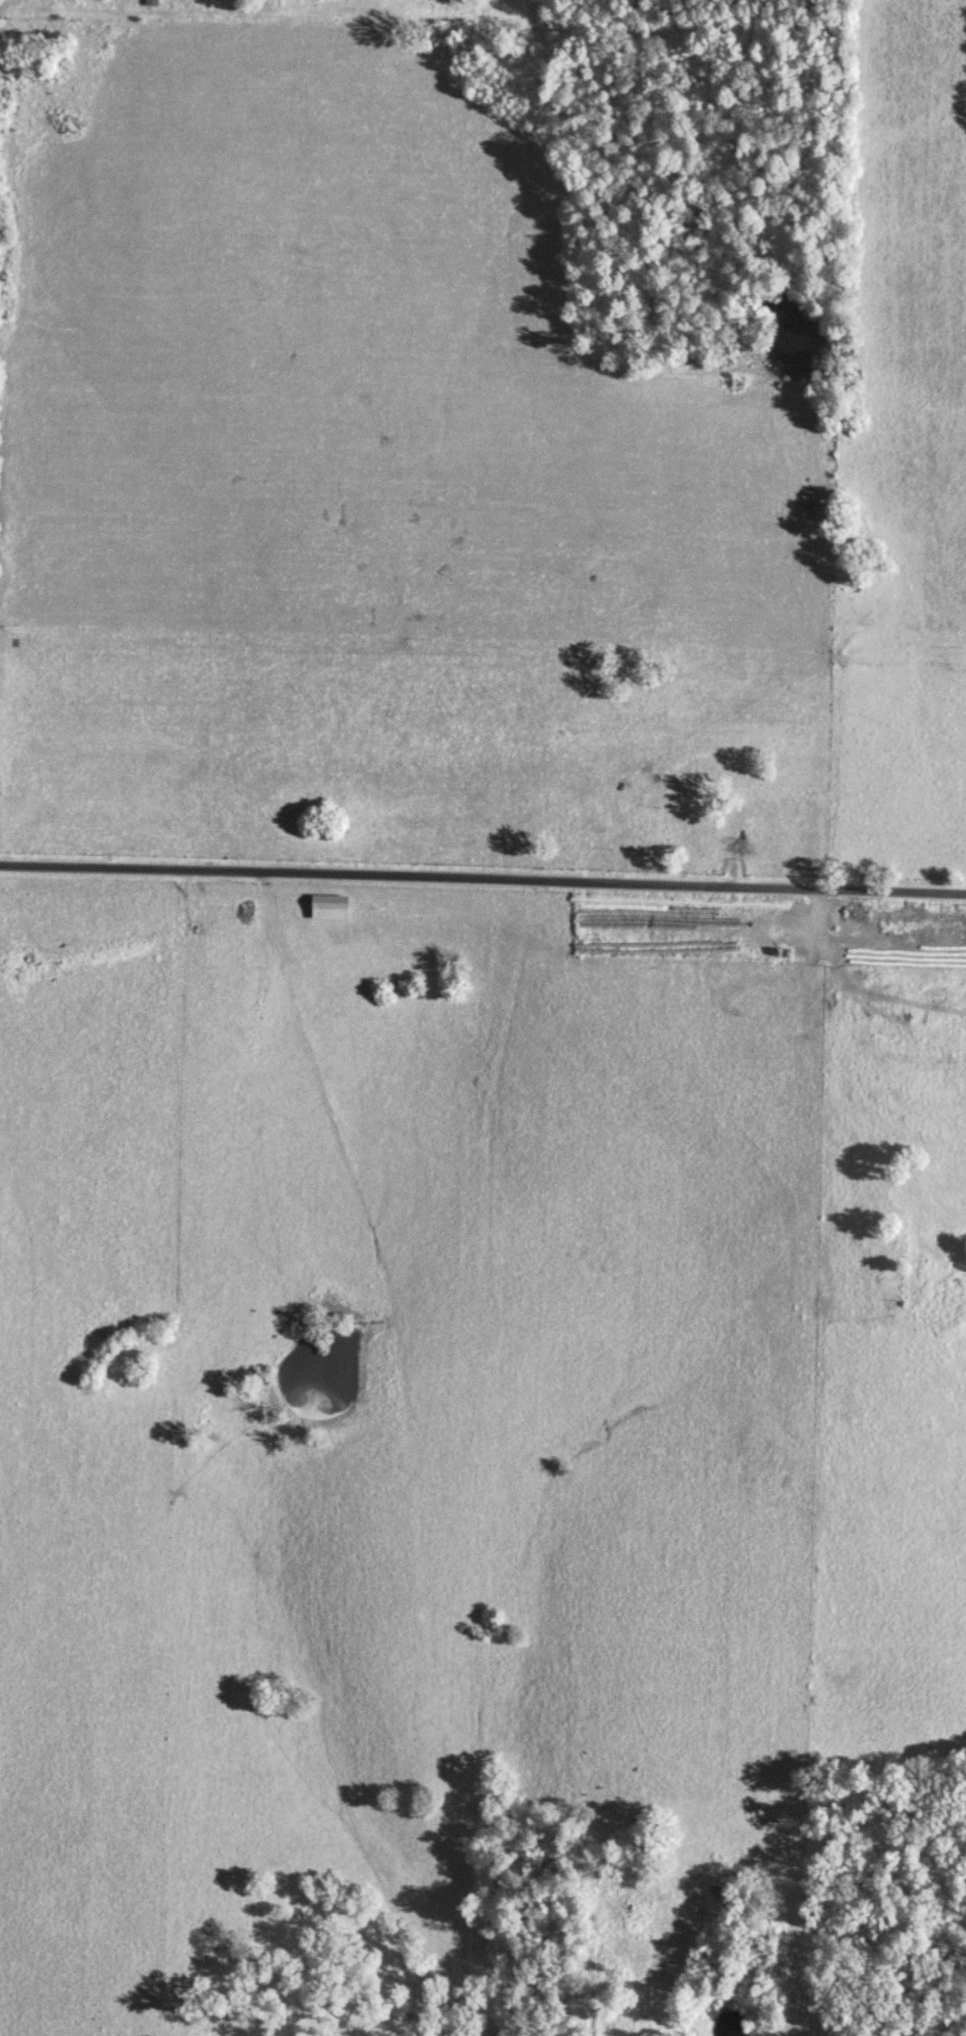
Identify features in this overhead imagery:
building: (151, 2)
road: (7, 5)
road: (482, 877)
building: (331, 905)

